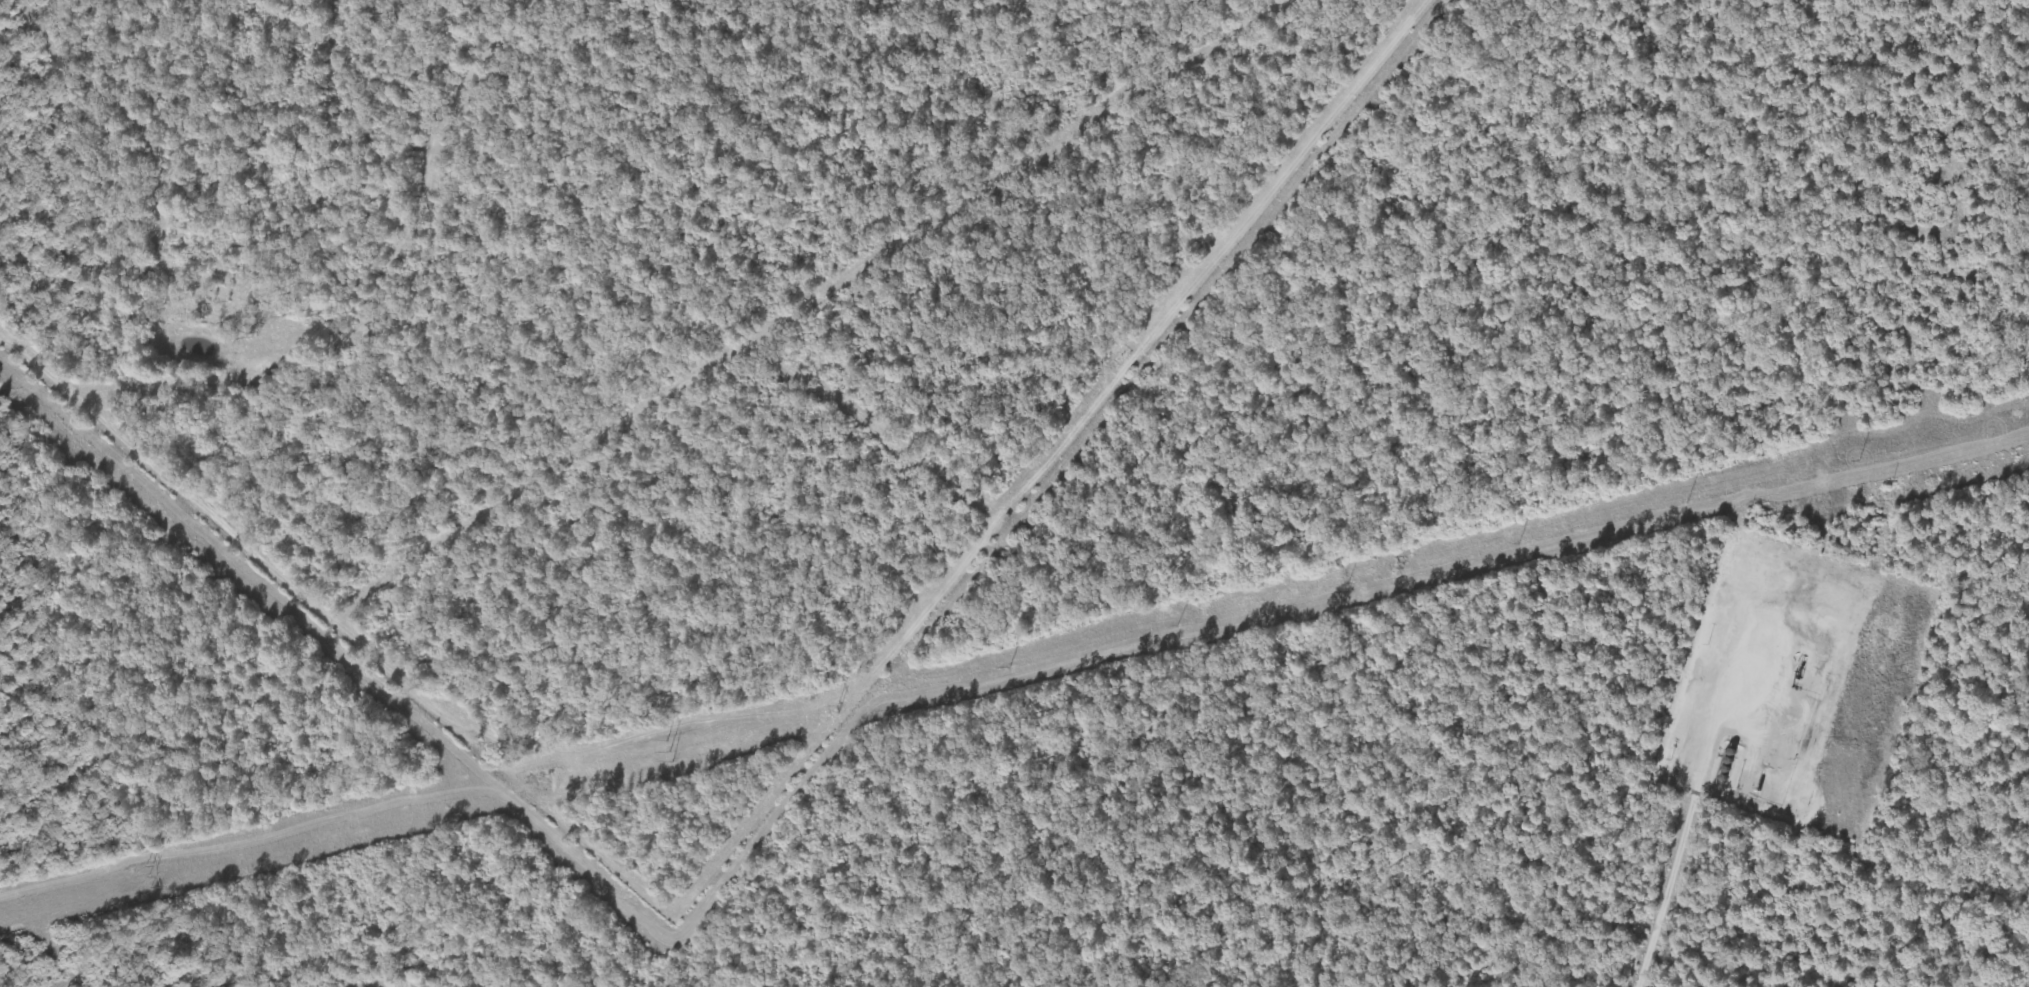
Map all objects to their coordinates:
road: (1706, 652)
petroleum well: (1798, 676)
road: (1754, 697)
building: (1731, 752)
silo: (1731, 752)
building: (1728, 760)
silo: (1728, 760)
building: (1725, 769)
silo: (1725, 769)
building: (1723, 777)
silo: (1723, 777)
chimney: (1735, 790)

